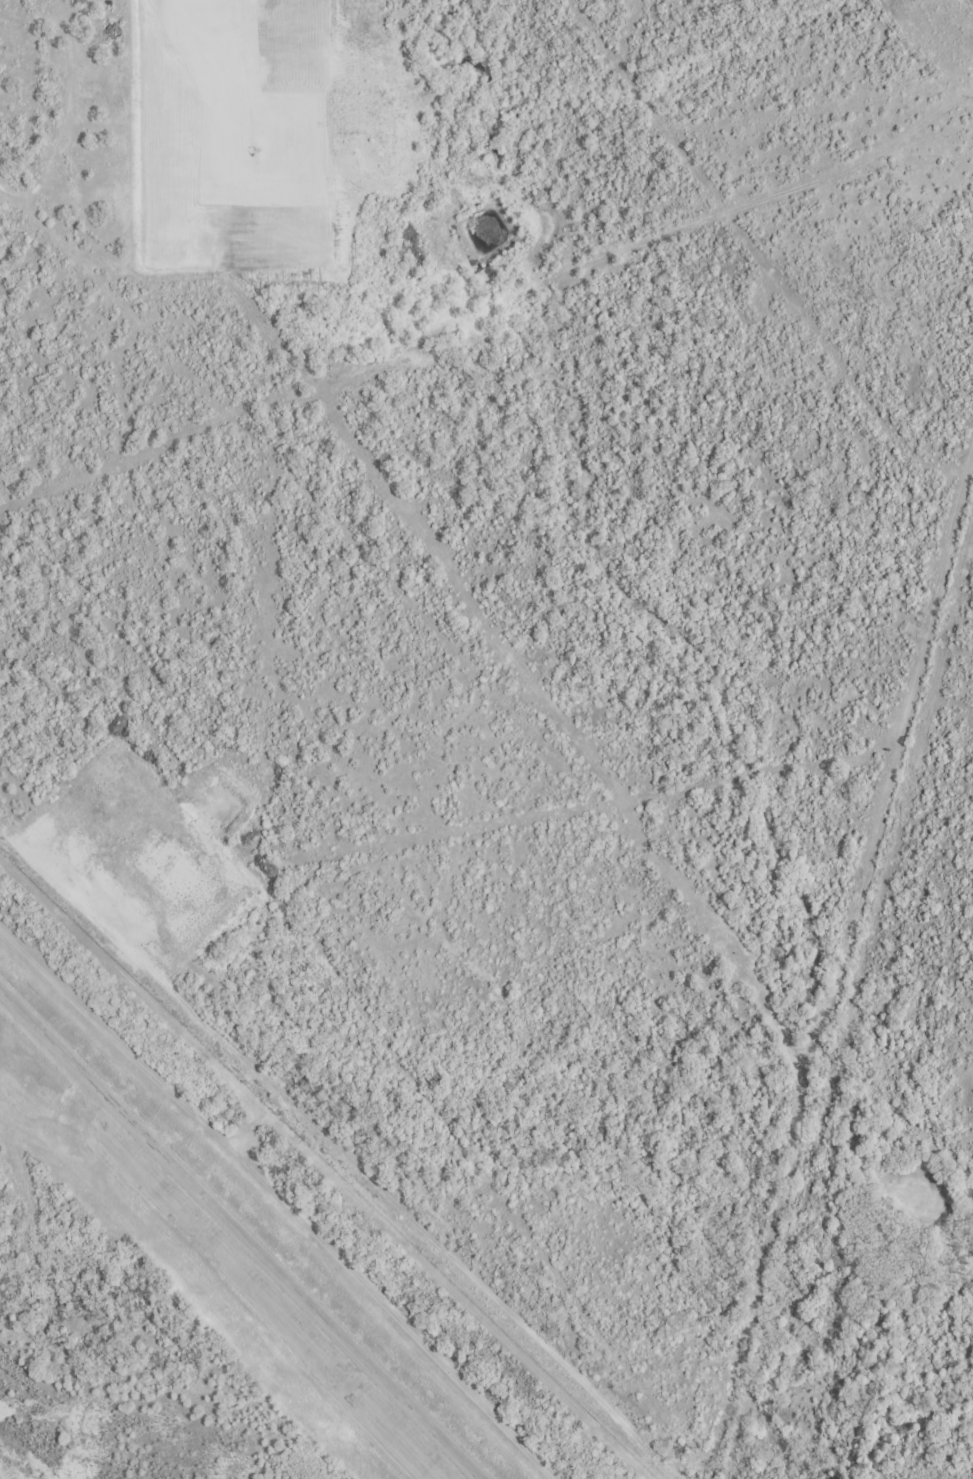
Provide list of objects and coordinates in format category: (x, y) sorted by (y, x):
building: (84, 2)
building: (111, 35)
building: (118, 96)
road: (241, 1233)

